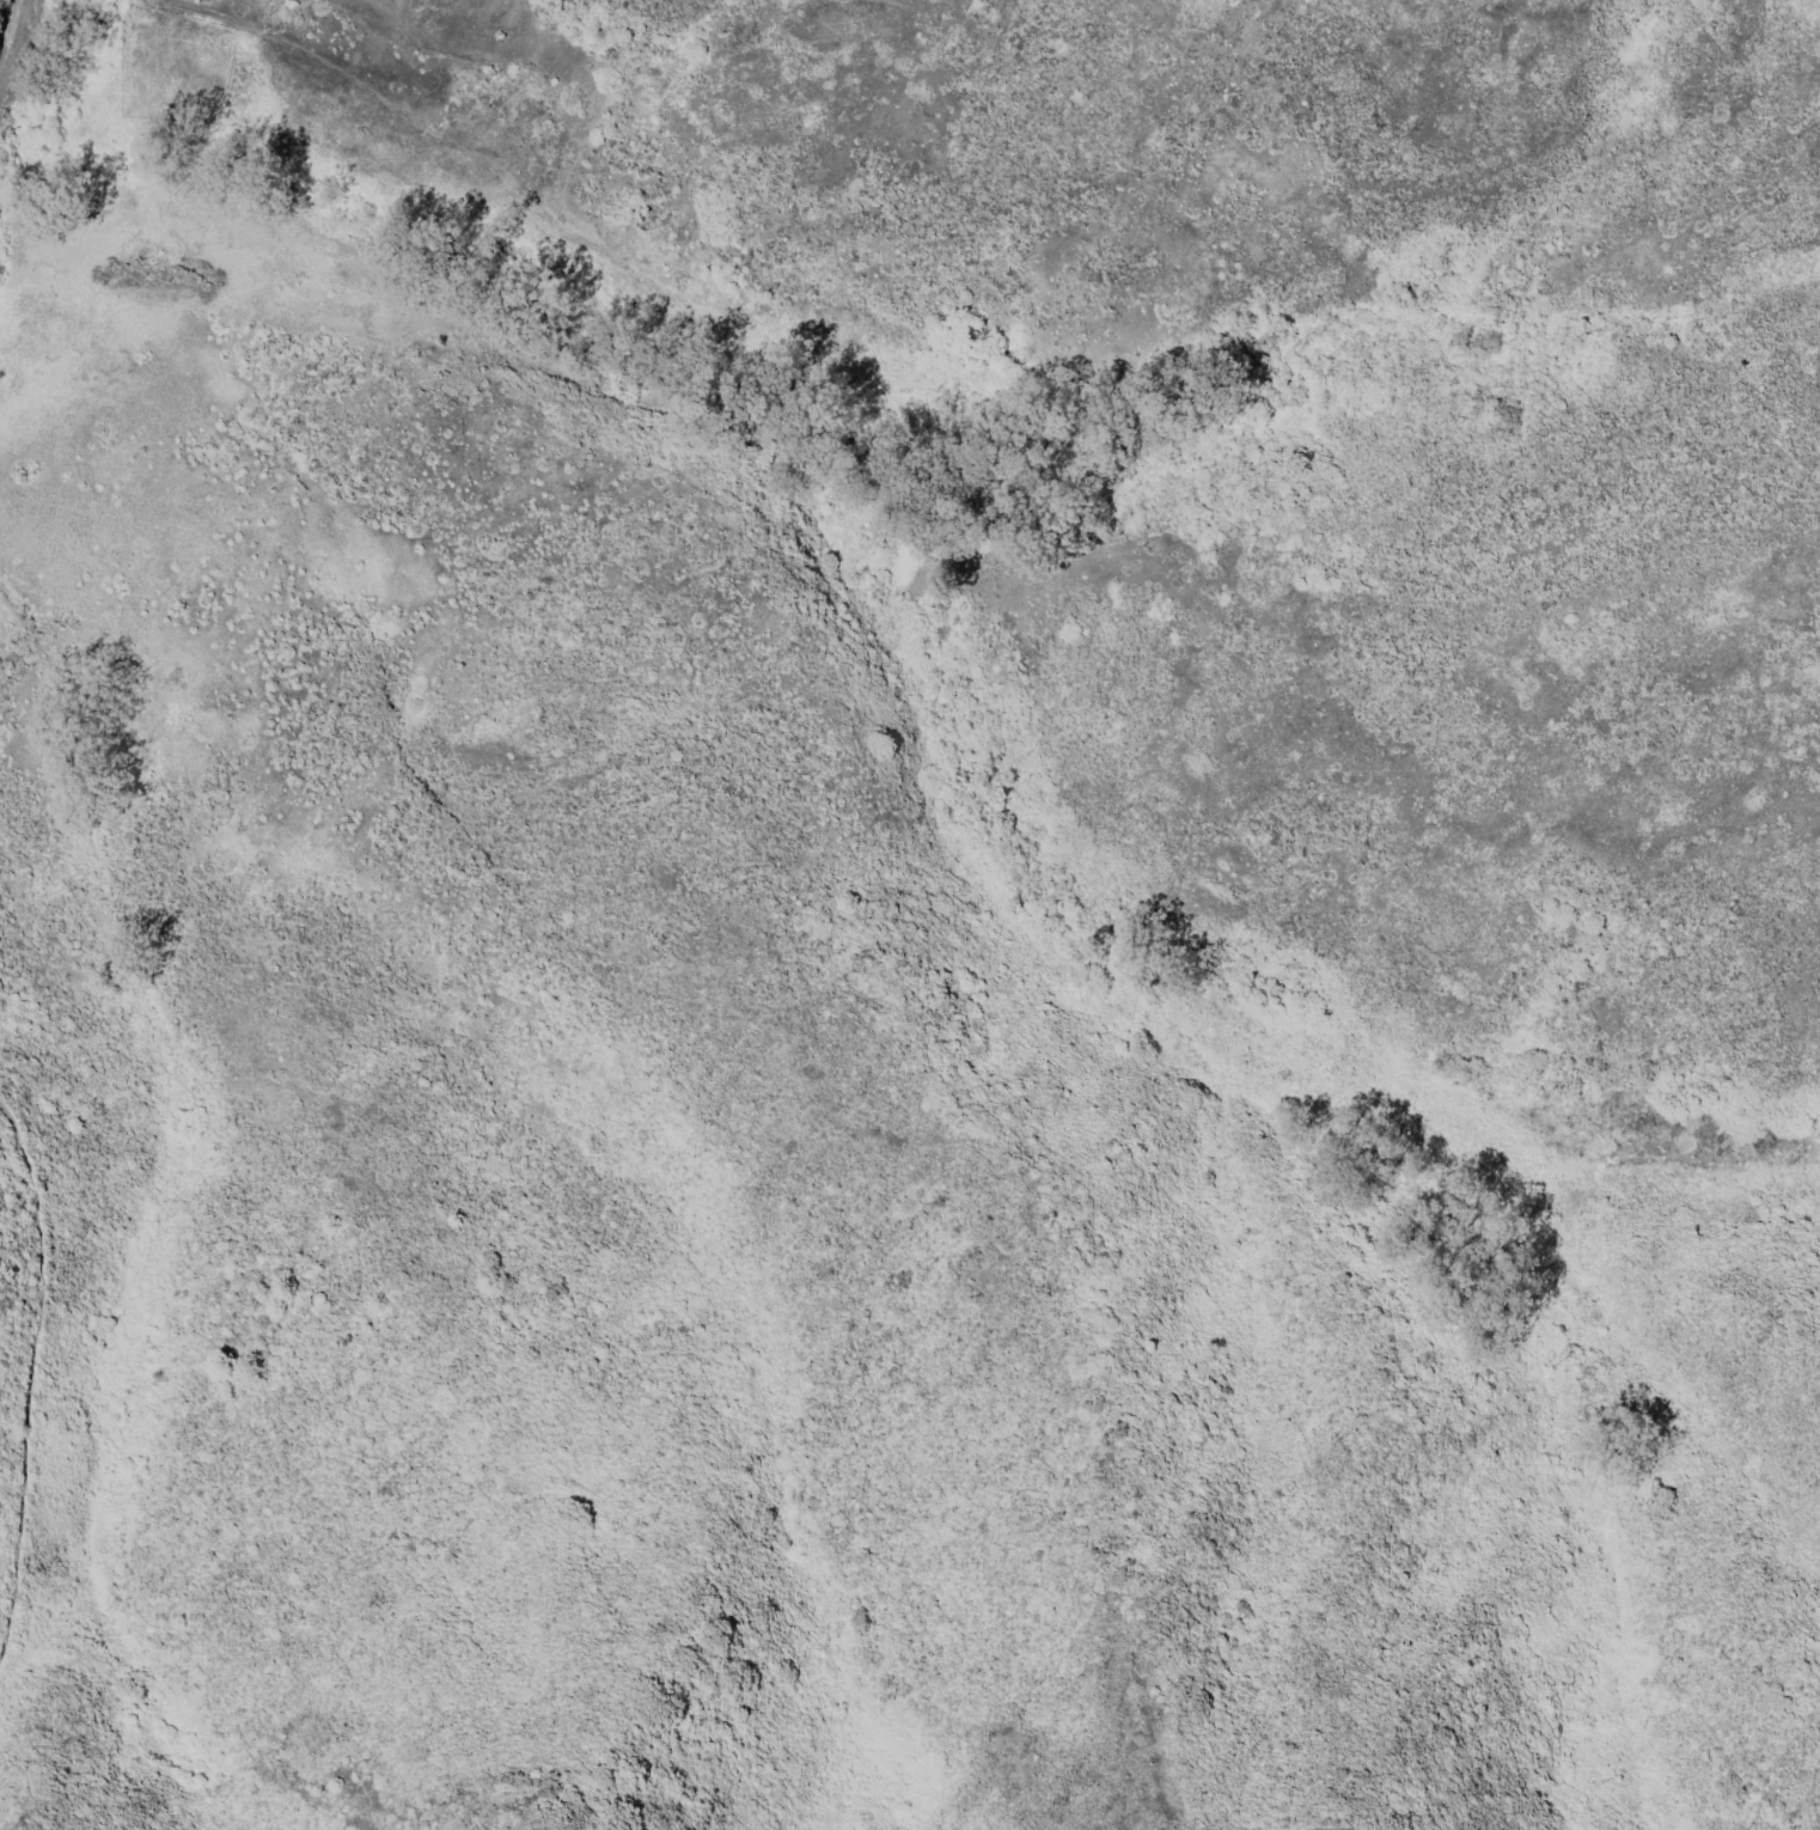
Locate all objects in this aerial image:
building: (252, 11)
road: (250, 29)
road: (19, 41)
road: (31, 1374)

